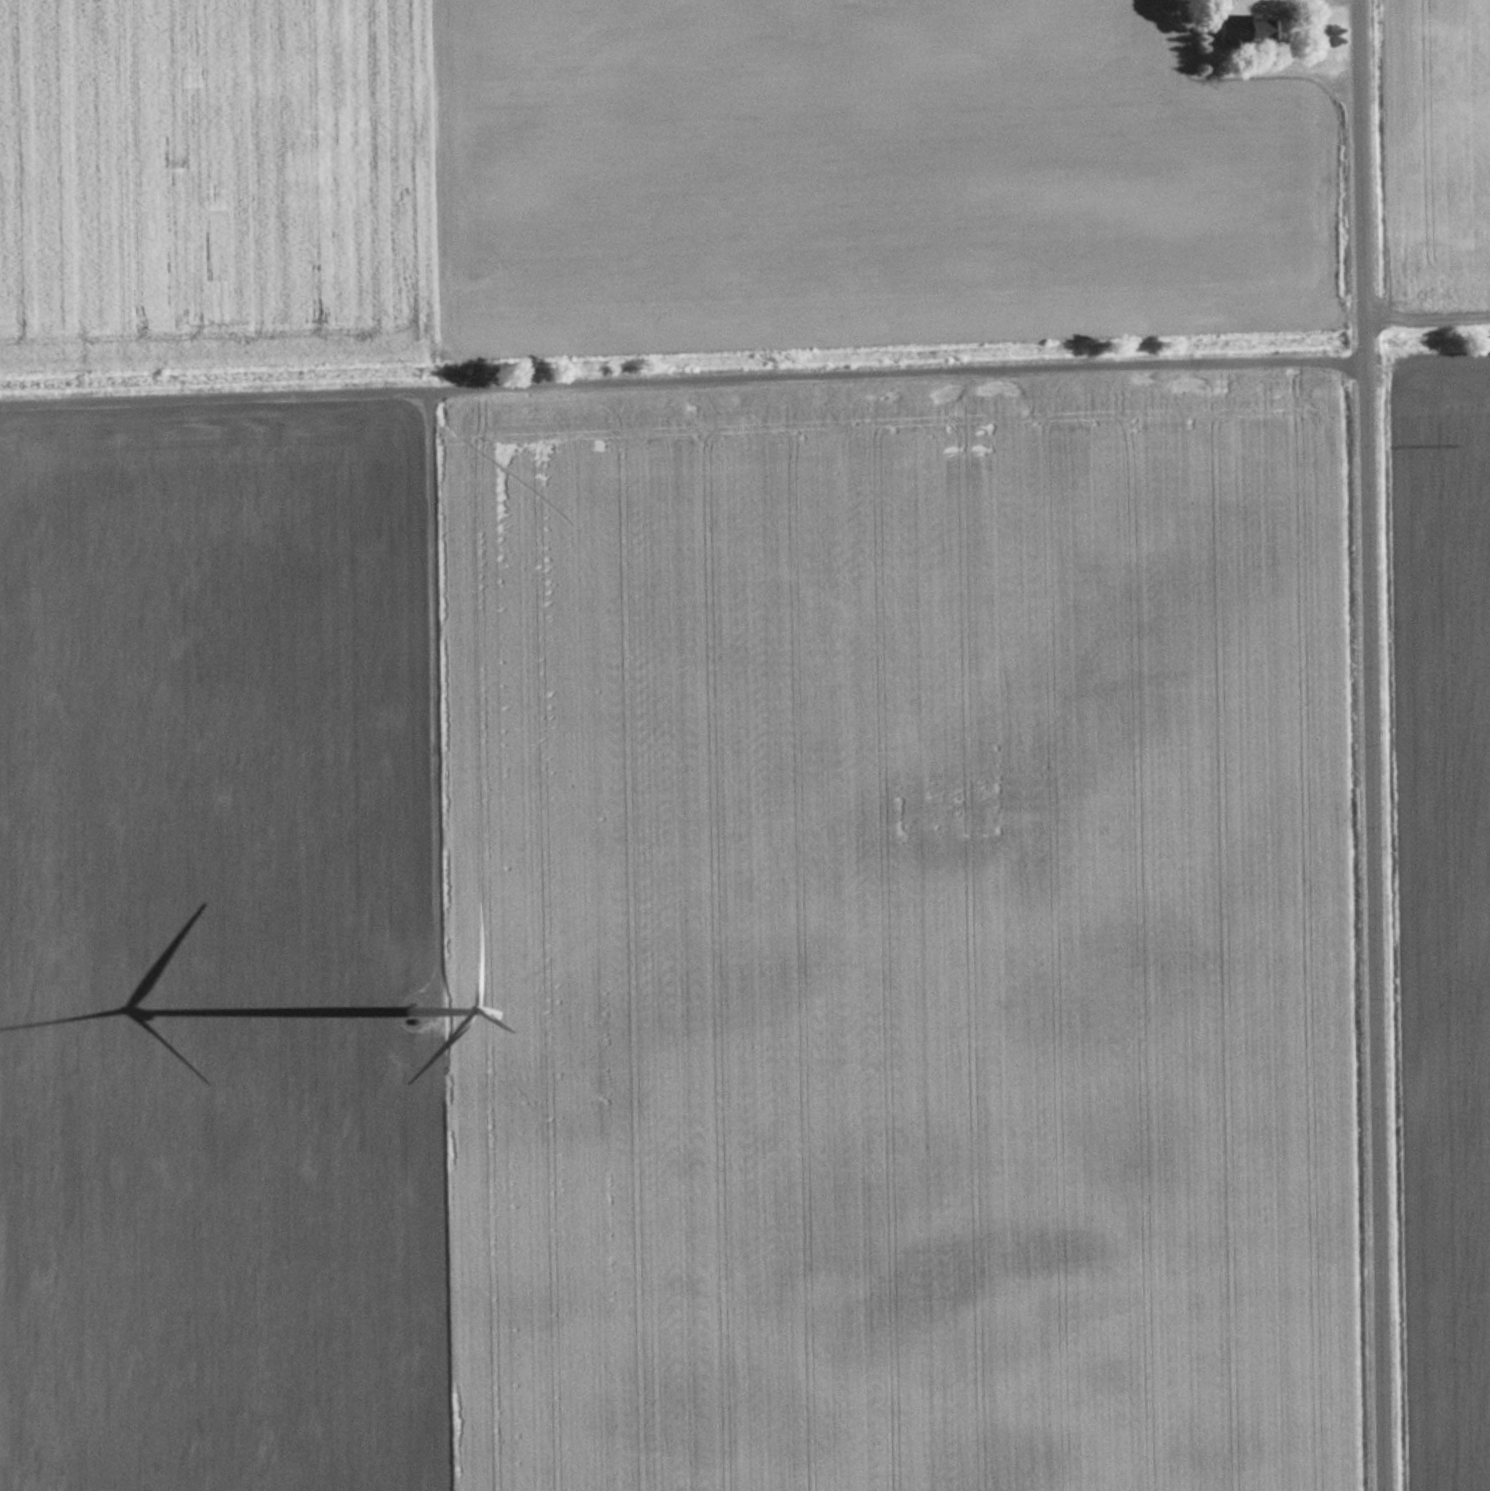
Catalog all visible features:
building: (1249, 20)
road: (1429, 305)
road: (684, 372)
road: (431, 623)
road: (1376, 745)
wind turbine: (424, 988)

